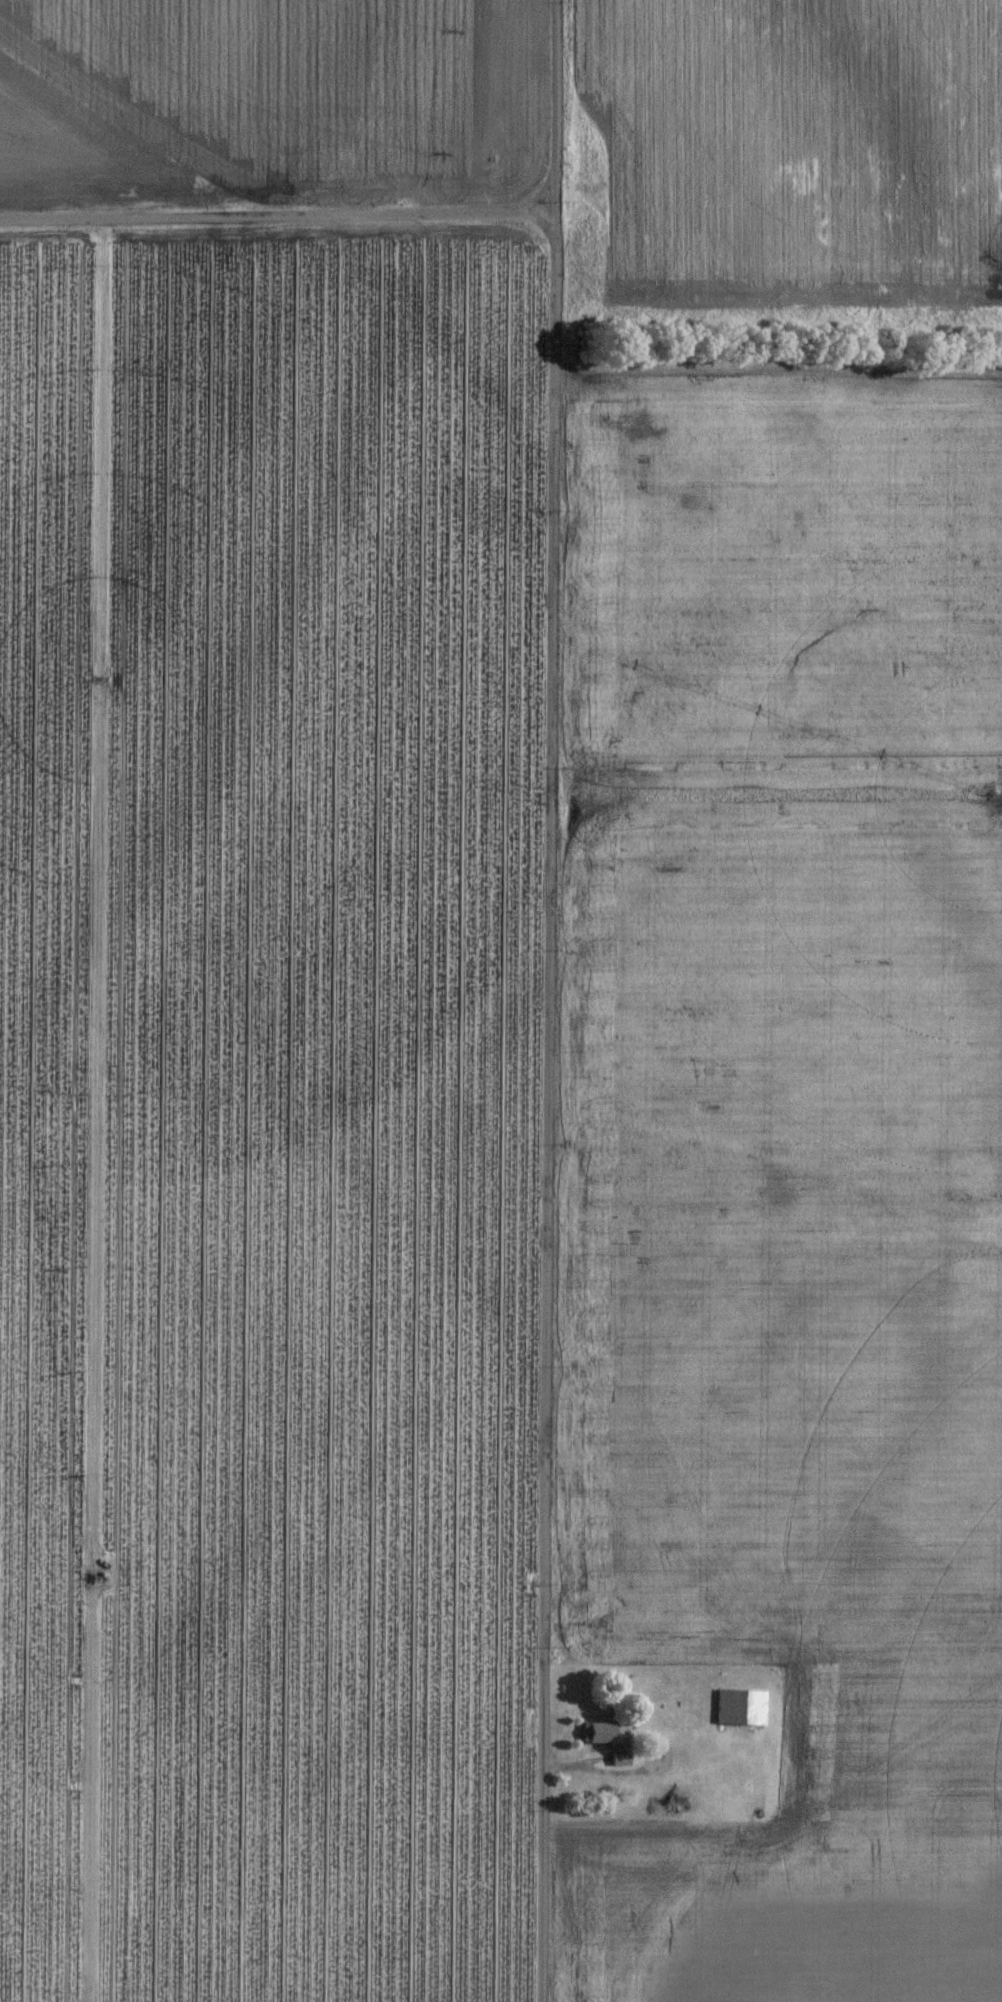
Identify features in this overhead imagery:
road: (276, 215)
road: (556, 1000)
building: (740, 1716)
building: (597, 1741)

